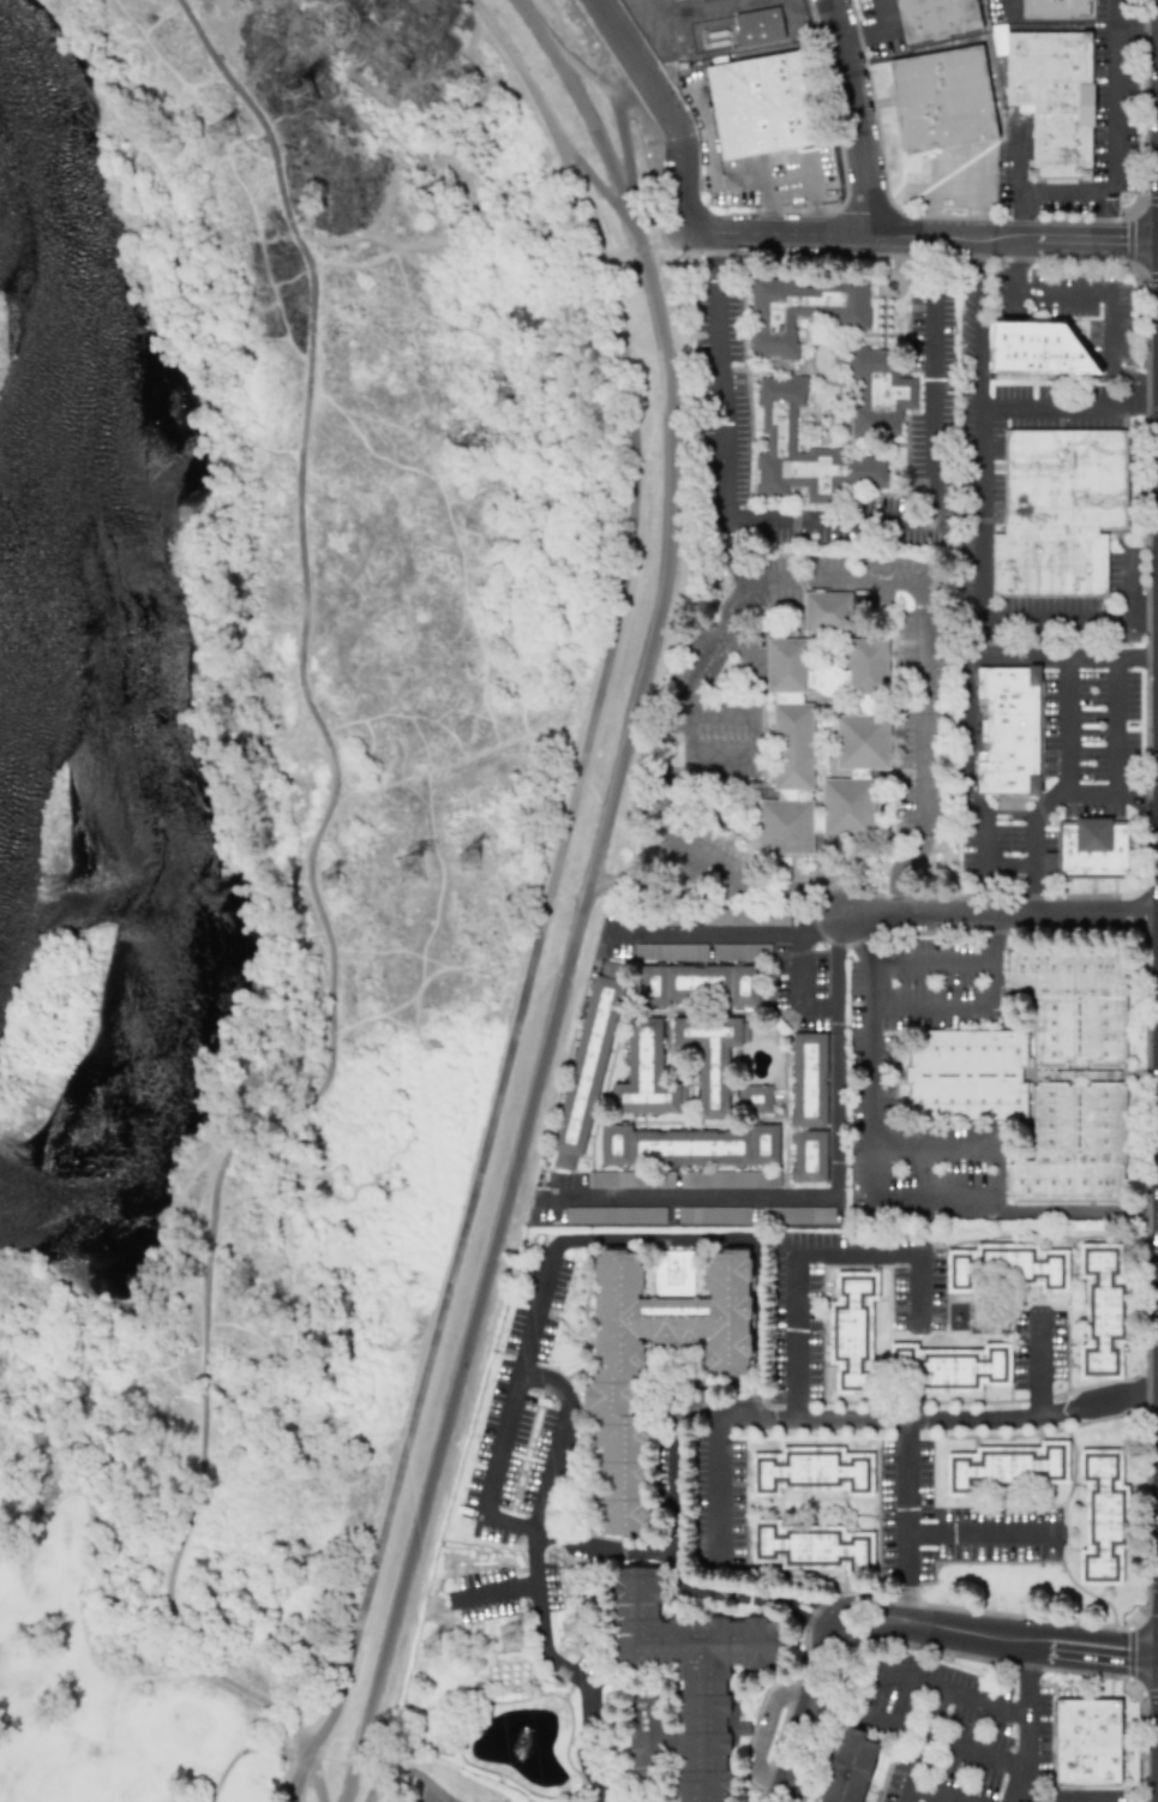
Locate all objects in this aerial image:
road: (730, 4)
road: (806, 4)
road: (1007, 7)
building: (1054, 8)
road: (532, 17)
building: (934, 18)
building: (758, 25)
road: (871, 25)
road: (1135, 28)
road: (571, 83)
building: (299, 92)
power tower: (294, 94)
building: (1050, 96)
building: (938, 101)
building: (760, 104)
road: (662, 109)
road: (858, 115)
building: (221, 131)
power tower: (216, 133)
road: (1114, 138)
road: (625, 143)
road: (1016, 161)
road: (1024, 215)
road: (1105, 216)
road: (920, 234)
road: (712, 257)
road: (930, 261)
road: (1015, 264)
road: (1111, 300)
building: (800, 311)
building: (1037, 348)
river: (56, 376)
building: (878, 393)
road: (1148, 394)
road: (934, 403)
road: (1062, 409)
road: (980, 430)
road: (725, 435)
building: (780, 441)
building: (1058, 511)
road: (833, 519)
road: (833, 579)
road: (1133, 586)
building: (827, 611)
road: (1146, 619)
road: (1058, 621)
road: (1002, 655)
road: (716, 712)
road: (1066, 726)
road: (1116, 728)
building: (1009, 730)
building: (823, 743)
road: (709, 753)
road: (1142, 797)
road: (966, 798)
road: (1032, 840)
building: (1088, 850)
building: (467, 861)
power tower: (472, 861)
power tower: (415, 869)
road: (557, 874)
road: (904, 874)
building: (326, 879)
power tower: (332, 882)
road: (744, 887)
road: (1033, 892)
road: (319, 911)
building: (746, 916)
road: (1000, 917)
road: (821, 927)
road: (701, 933)
road: (796, 934)
road: (857, 939)
building: (670, 951)
building: (734, 951)
road: (932, 959)
road: (994, 960)
road: (802, 969)
road: (564, 974)
road: (821, 1005)
road: (934, 1007)
building: (710, 1056)
road: (838, 1059)
building: (587, 1065)
building: (646, 1073)
building: (966, 1074)
road: (874, 1077)
building: (809, 1079)
building: (755, 1098)
building: (686, 1145)
road: (932, 1147)
building: (809, 1156)
road: (1001, 1168)
building: (632, 1179)
building: (728, 1179)
road: (936, 1198)
road: (691, 1199)
road: (1072, 1209)
building: (614, 1214)
building: (713, 1215)
building: (798, 1215)
road: (653, 1240)
road: (854, 1255)
building: (1008, 1267)
building: (673, 1269)
road: (917, 1287)
building: (1102, 1311)
building: (670, 1315)
building: (852, 1328)
road: (794, 1335)
building: (1055, 1351)
road: (1038, 1363)
building: (953, 1365)
road: (518, 1377)
road: (1098, 1401)
building: (616, 1402)
road: (756, 1415)
road: (917, 1417)
road: (563, 1439)
building: (622, 1441)
building: (702, 1466)
building: (1008, 1468)
building: (811, 1471)
building: (622, 1479)
road: (719, 1487)
road: (906, 1501)
building: (623, 1515)
building: (1102, 1516)
road: (509, 1525)
road: (983, 1534)
building: (810, 1546)
building: (984, 1550)
road: (665, 1556)
road: (538, 1573)
road: (504, 1585)
road: (708, 1591)
road: (906, 1606)
road: (808, 1608)
road: (846, 1622)
power tower: (572, 1632)
building: (509, 1635)
road: (1094, 1636)
power tower: (517, 1639)
power tower: (434, 1651)
park: (108, 1665)
road: (1091, 1665)
building: (686, 1682)
road: (949, 1689)
road: (587, 1699)
road: (1027, 1723)
road: (767, 1731)
road: (941, 1741)
building: (1087, 1742)
road: (923, 1744)
building: (850, 1767)
road: (420, 1774)
road: (317, 1777)
road: (298, 1778)
road: (378, 1782)
road: (935, 1794)
road: (1063, 1795)
road: (292, 1798)

